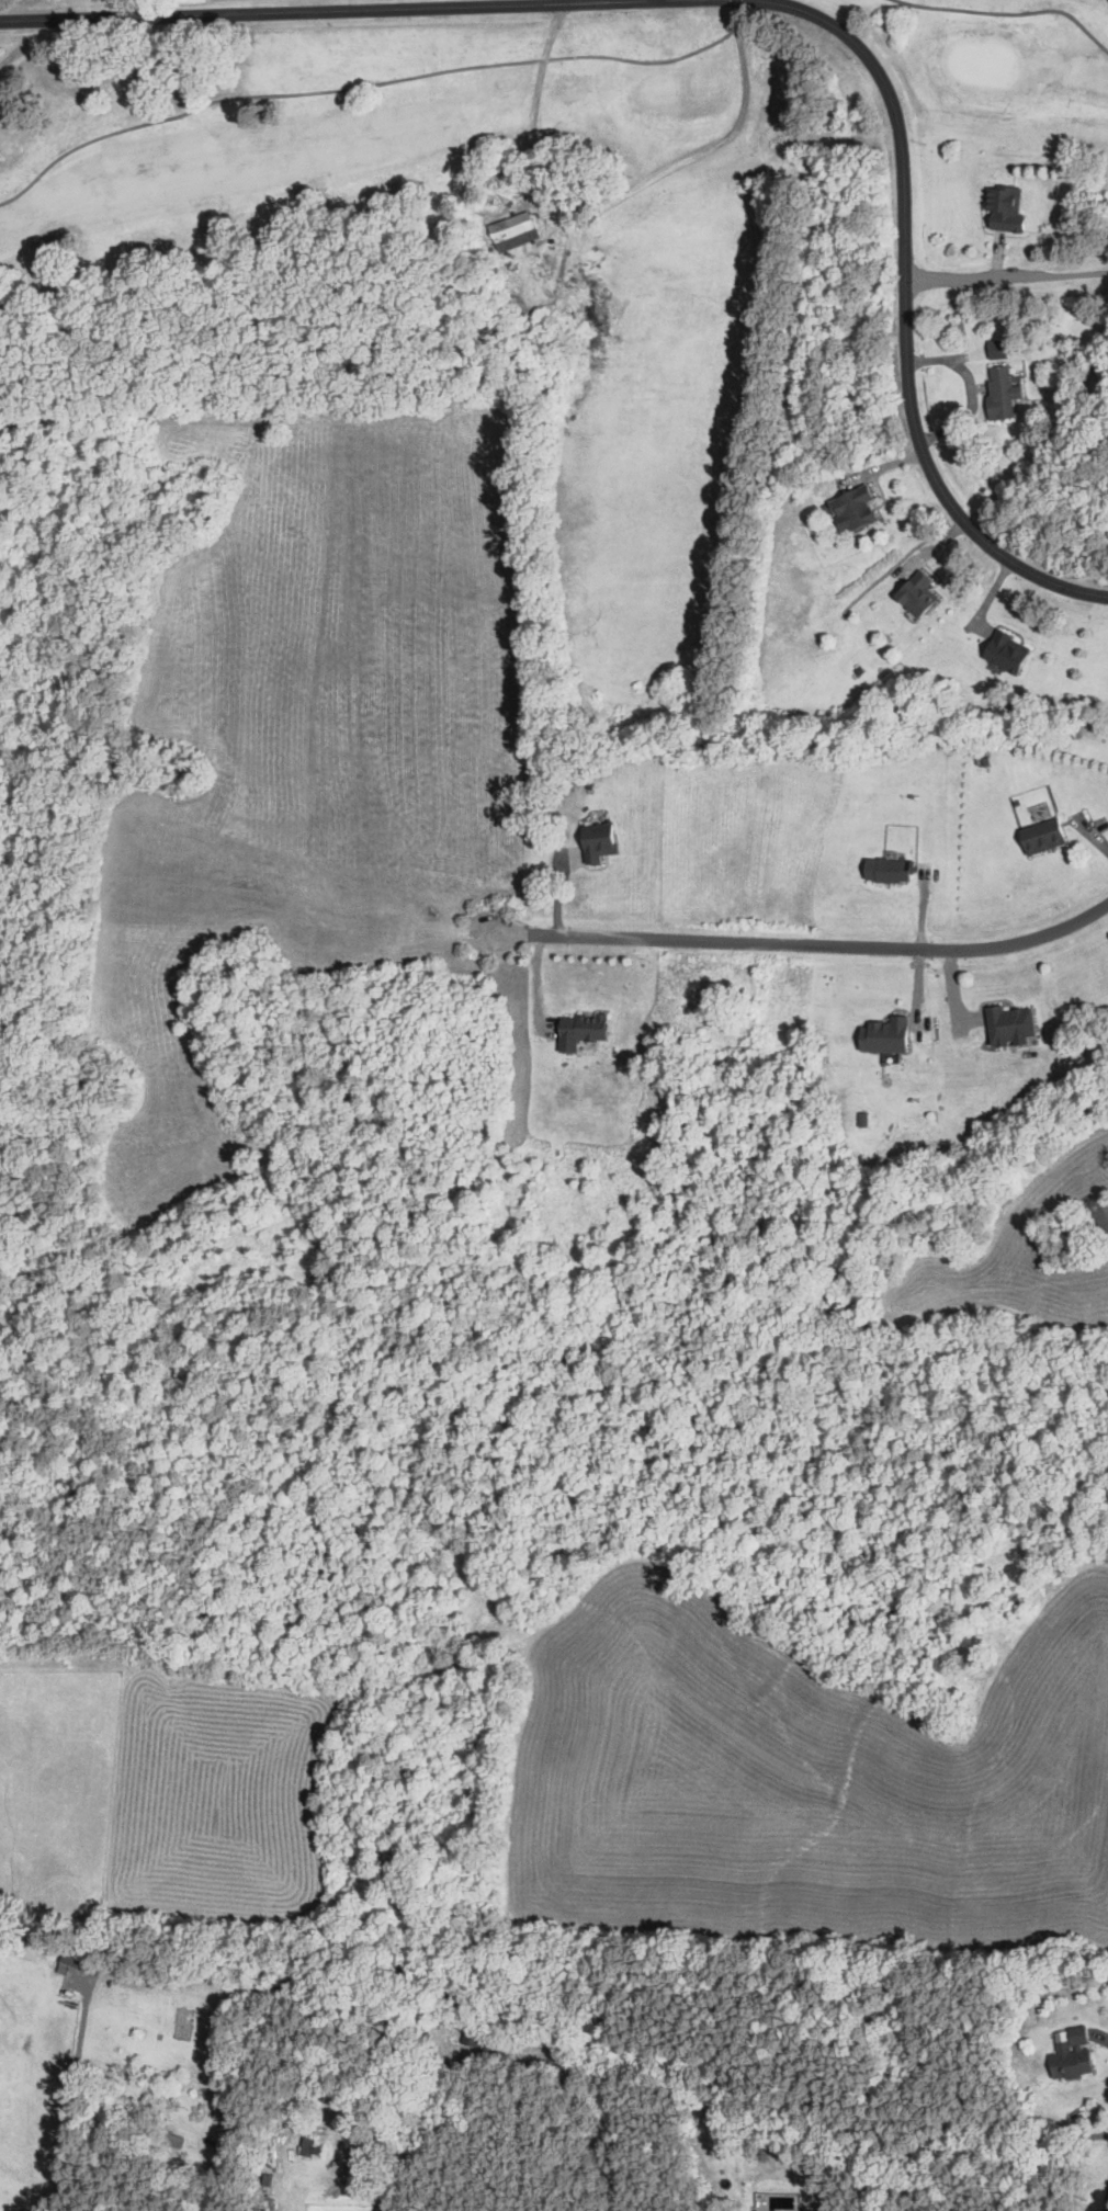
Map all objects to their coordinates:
road: (562, 1)
road: (316, 10)
building: (1004, 208)
building: (512, 230)
park: (551, 236)
road: (1006, 279)
road: (905, 314)
building: (1000, 393)
building: (850, 509)
building: (916, 594)
building: (1005, 653)
building: (1041, 837)
building: (597, 841)
building: (887, 870)
road: (806, 938)
building: (1007, 1025)
building: (579, 1030)
building: (883, 1035)
building: (1101, 1220)
building: (72, 1959)
building: (472, 2034)
road: (1103, 2036)
building: (1071, 2054)
building: (171, 2140)
building: (310, 2147)

